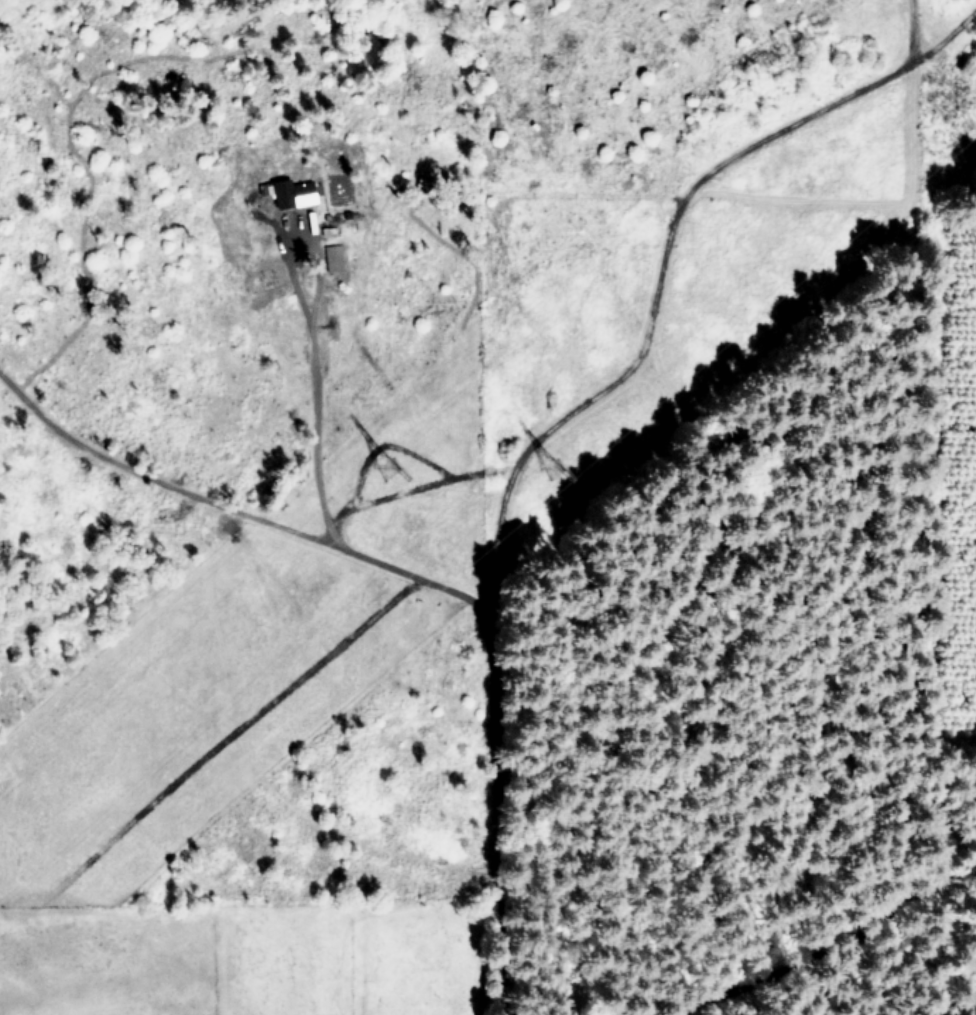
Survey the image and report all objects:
building: (291, 192)
building: (332, 251)
road: (311, 421)
power tower: (548, 464)
power tower: (381, 467)
road: (415, 578)
crop: (264, 952)

